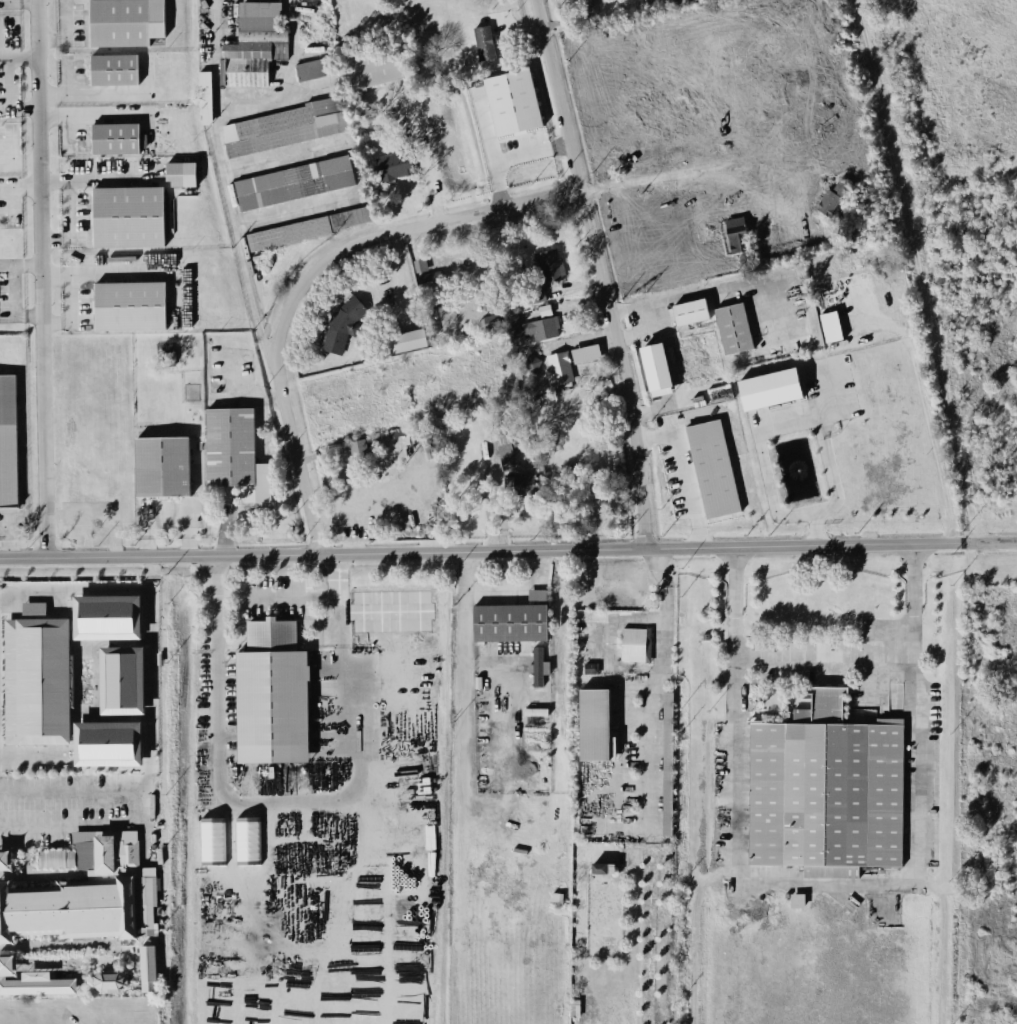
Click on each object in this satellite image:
road: (23, 1)
building: (661, 3)
road: (568, 17)
building: (125, 22)
road: (66, 31)
building: (483, 41)
building: (255, 44)
road: (294, 48)
building: (373, 65)
building: (315, 67)
building: (114, 69)
building: (205, 97)
road: (275, 97)
building: (513, 102)
building: (286, 126)
building: (115, 138)
road: (506, 156)
road: (707, 163)
road: (356, 164)
building: (395, 165)
building: (179, 173)
road: (100, 177)
road: (222, 180)
building: (294, 182)
building: (832, 199)
road: (730, 207)
building: (126, 216)
building: (287, 233)
road: (383, 233)
building: (737, 234)
road: (20, 265)
building: (548, 265)
road: (599, 273)
road: (41, 278)
building: (430, 280)
road: (686, 296)
road: (13, 302)
building: (130, 305)
building: (689, 312)
building: (491, 321)
building: (342, 325)
building: (831, 326)
building: (530, 327)
road: (368, 328)
building: (733, 328)
building: (407, 340)
road: (682, 350)
building: (586, 353)
building: (531, 363)
building: (558, 368)
building: (656, 369)
building: (770, 388)
road: (760, 427)
road: (930, 430)
building: (7, 442)
building: (358, 450)
building: (233, 452)
road: (299, 464)
building: (161, 466)
building: (713, 468)
road: (686, 474)
building: (519, 483)
road: (990, 542)
road: (481, 551)
road: (336, 574)
road: (514, 590)
road: (148, 614)
building: (107, 616)
road: (619, 618)
building: (512, 619)
building: (705, 636)
building: (632, 644)
road: (821, 660)
building: (538, 667)
building: (591, 667)
building: (41, 675)
building: (123, 679)
road: (462, 689)
building: (272, 694)
building: (594, 724)
building: (108, 743)
building: (667, 762)
road: (647, 781)
building: (826, 790)
road: (324, 802)
road: (140, 803)
building: (104, 852)
building: (127, 852)
building: (85, 854)
building: (56, 857)
building: (41, 858)
building: (5, 860)
building: (151, 861)
building: (599, 868)
road: (819, 884)
building: (785, 894)
building: (555, 898)
building: (796, 900)
building: (70, 910)
building: (7, 966)
building: (148, 968)
building: (109, 981)
building: (38, 984)
road: (26, 1021)

